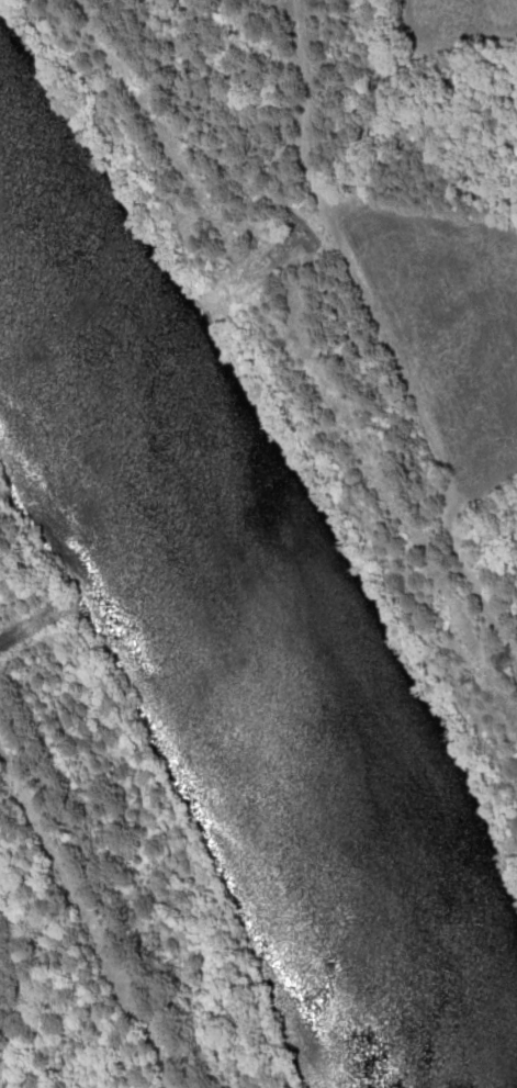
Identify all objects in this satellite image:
road: (487, 85)

